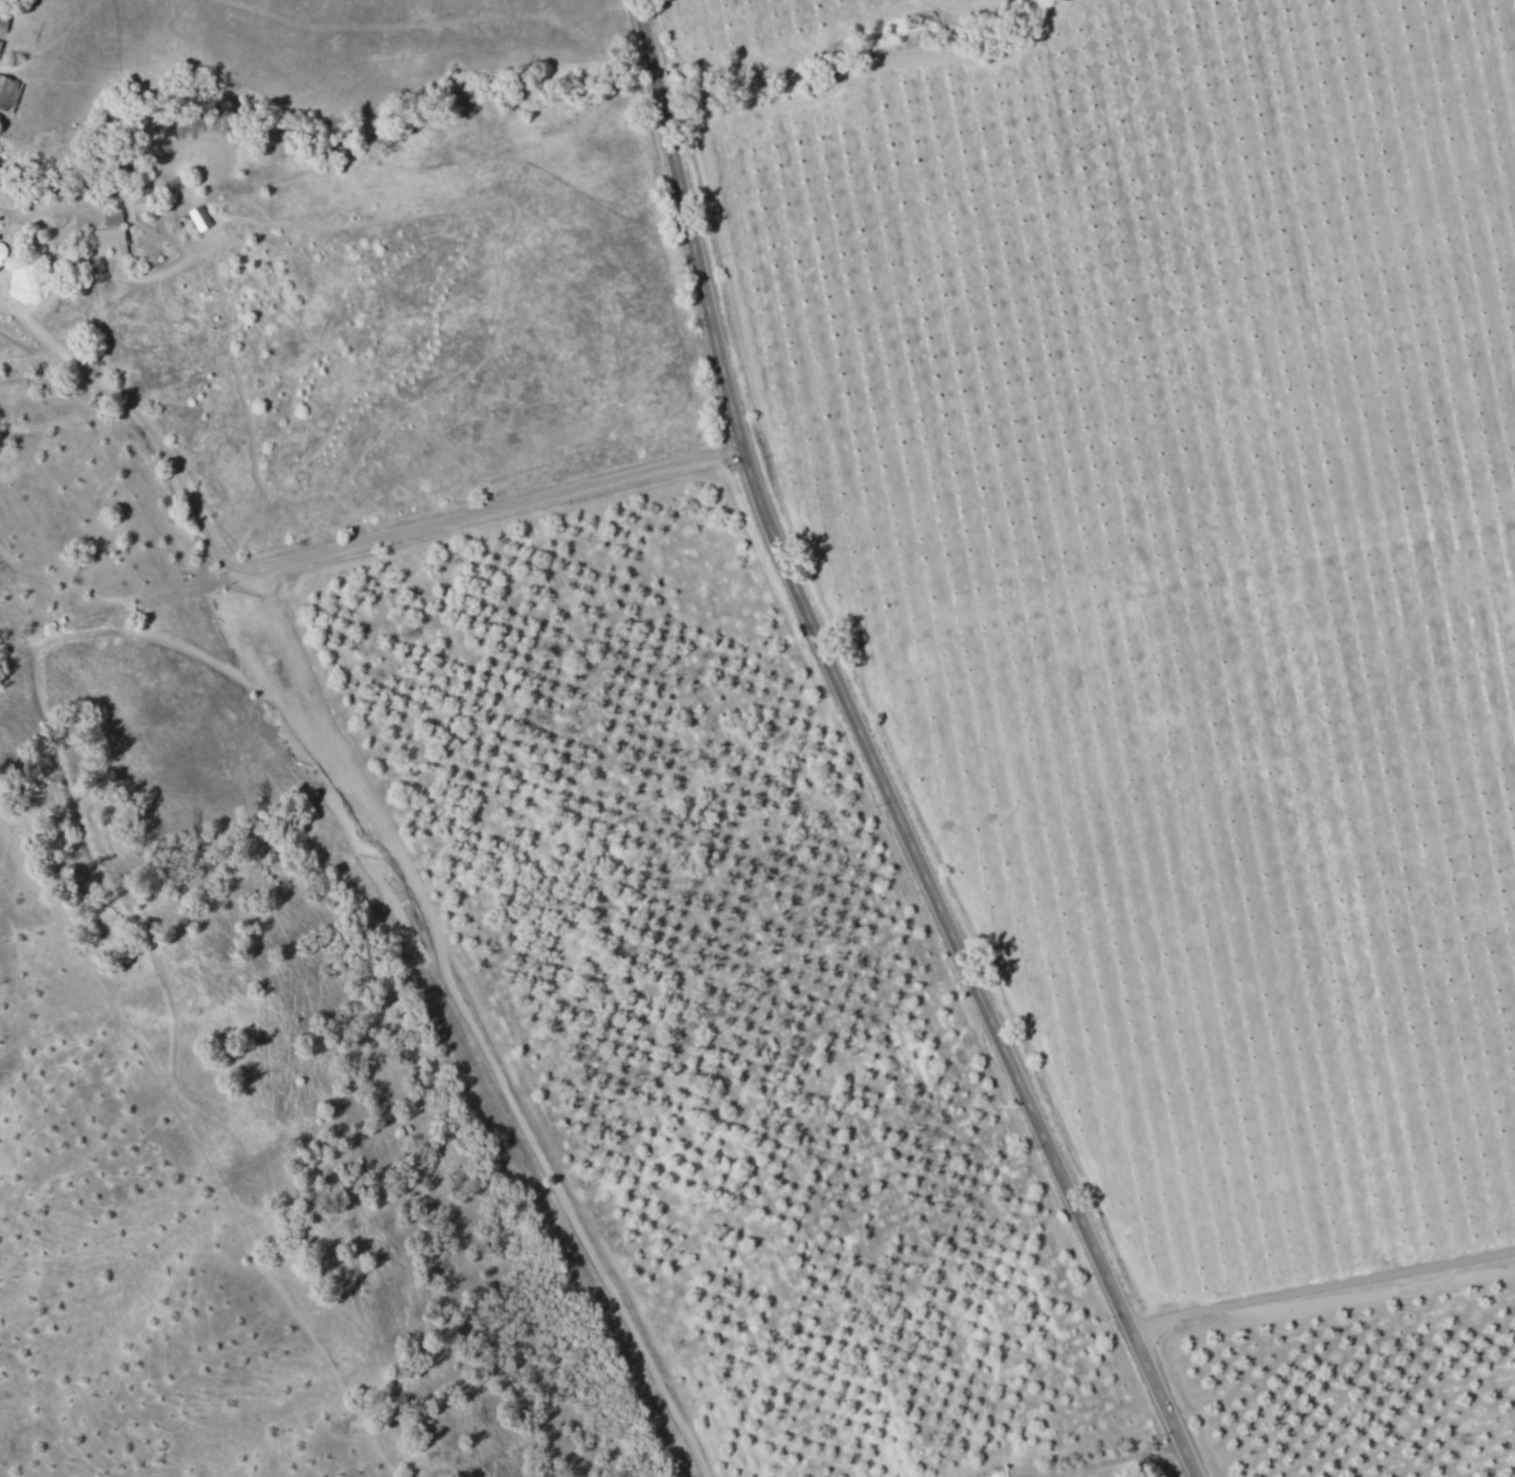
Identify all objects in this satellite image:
road: (643, 23)
road: (655, 75)
building: (112, 240)
road: (63, 286)
road: (330, 552)
road: (896, 801)
road: (1325, 1288)
road: (1113, 1460)

